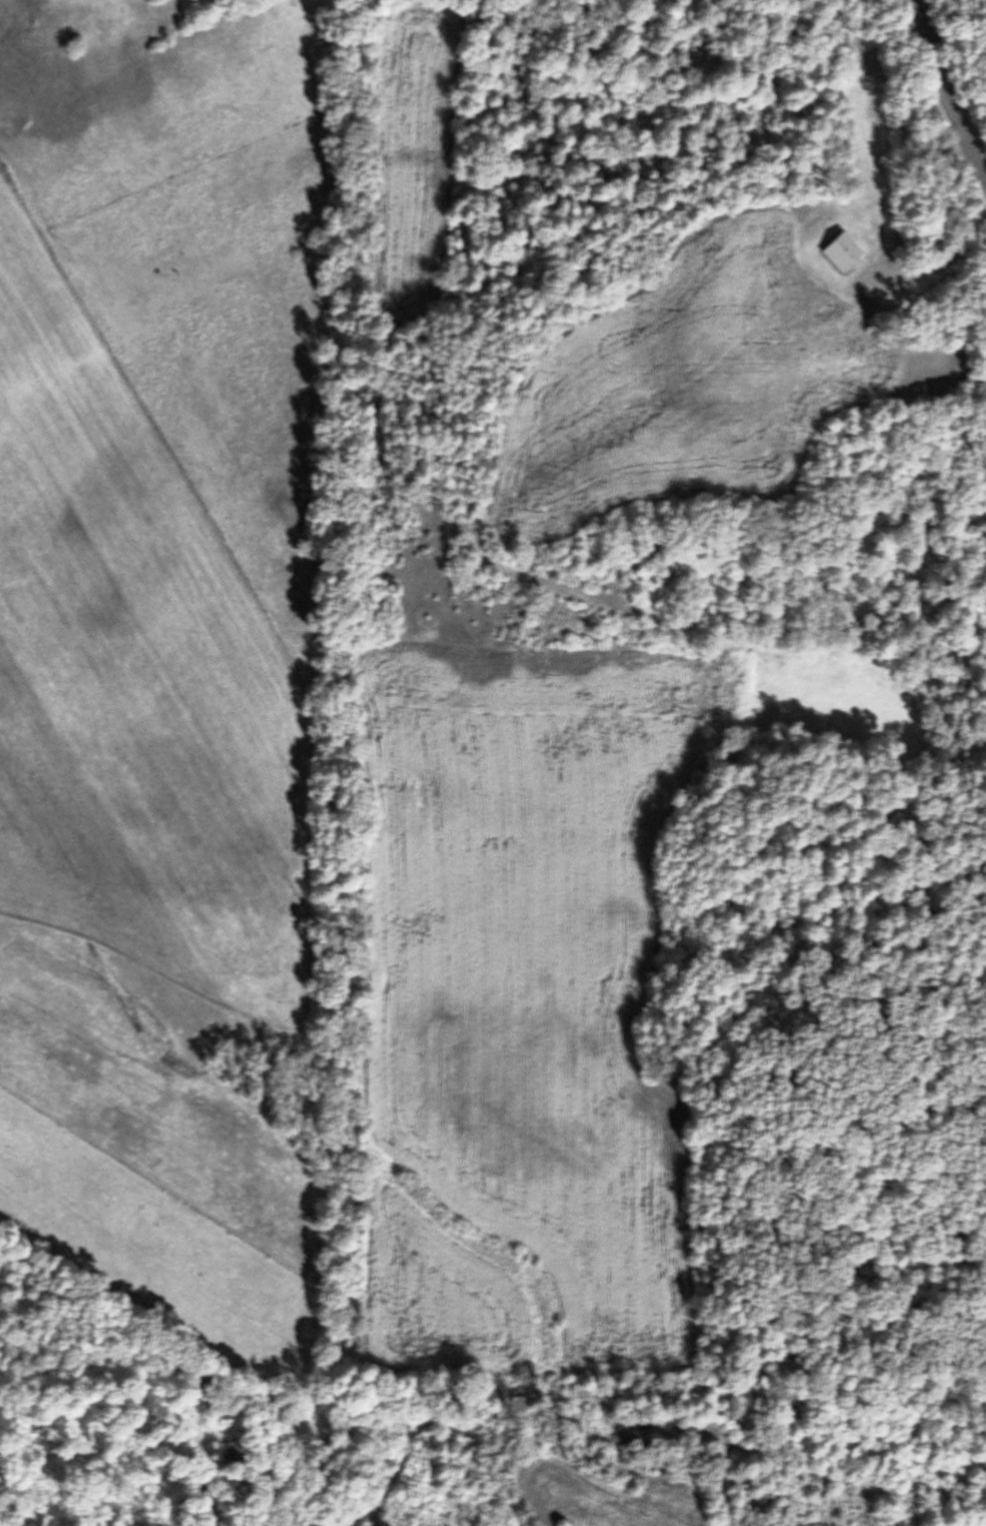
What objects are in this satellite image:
road: (946, 88)

